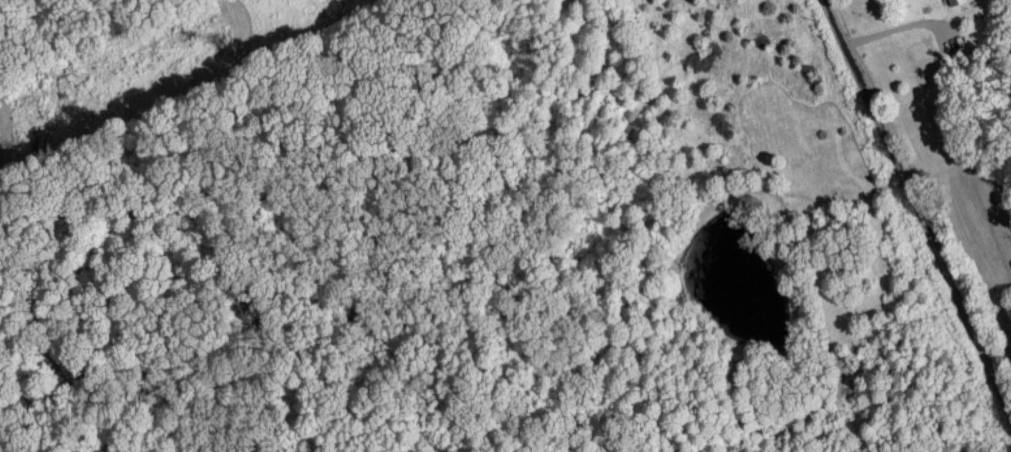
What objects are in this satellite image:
building: (953, 1)
road: (919, 202)

